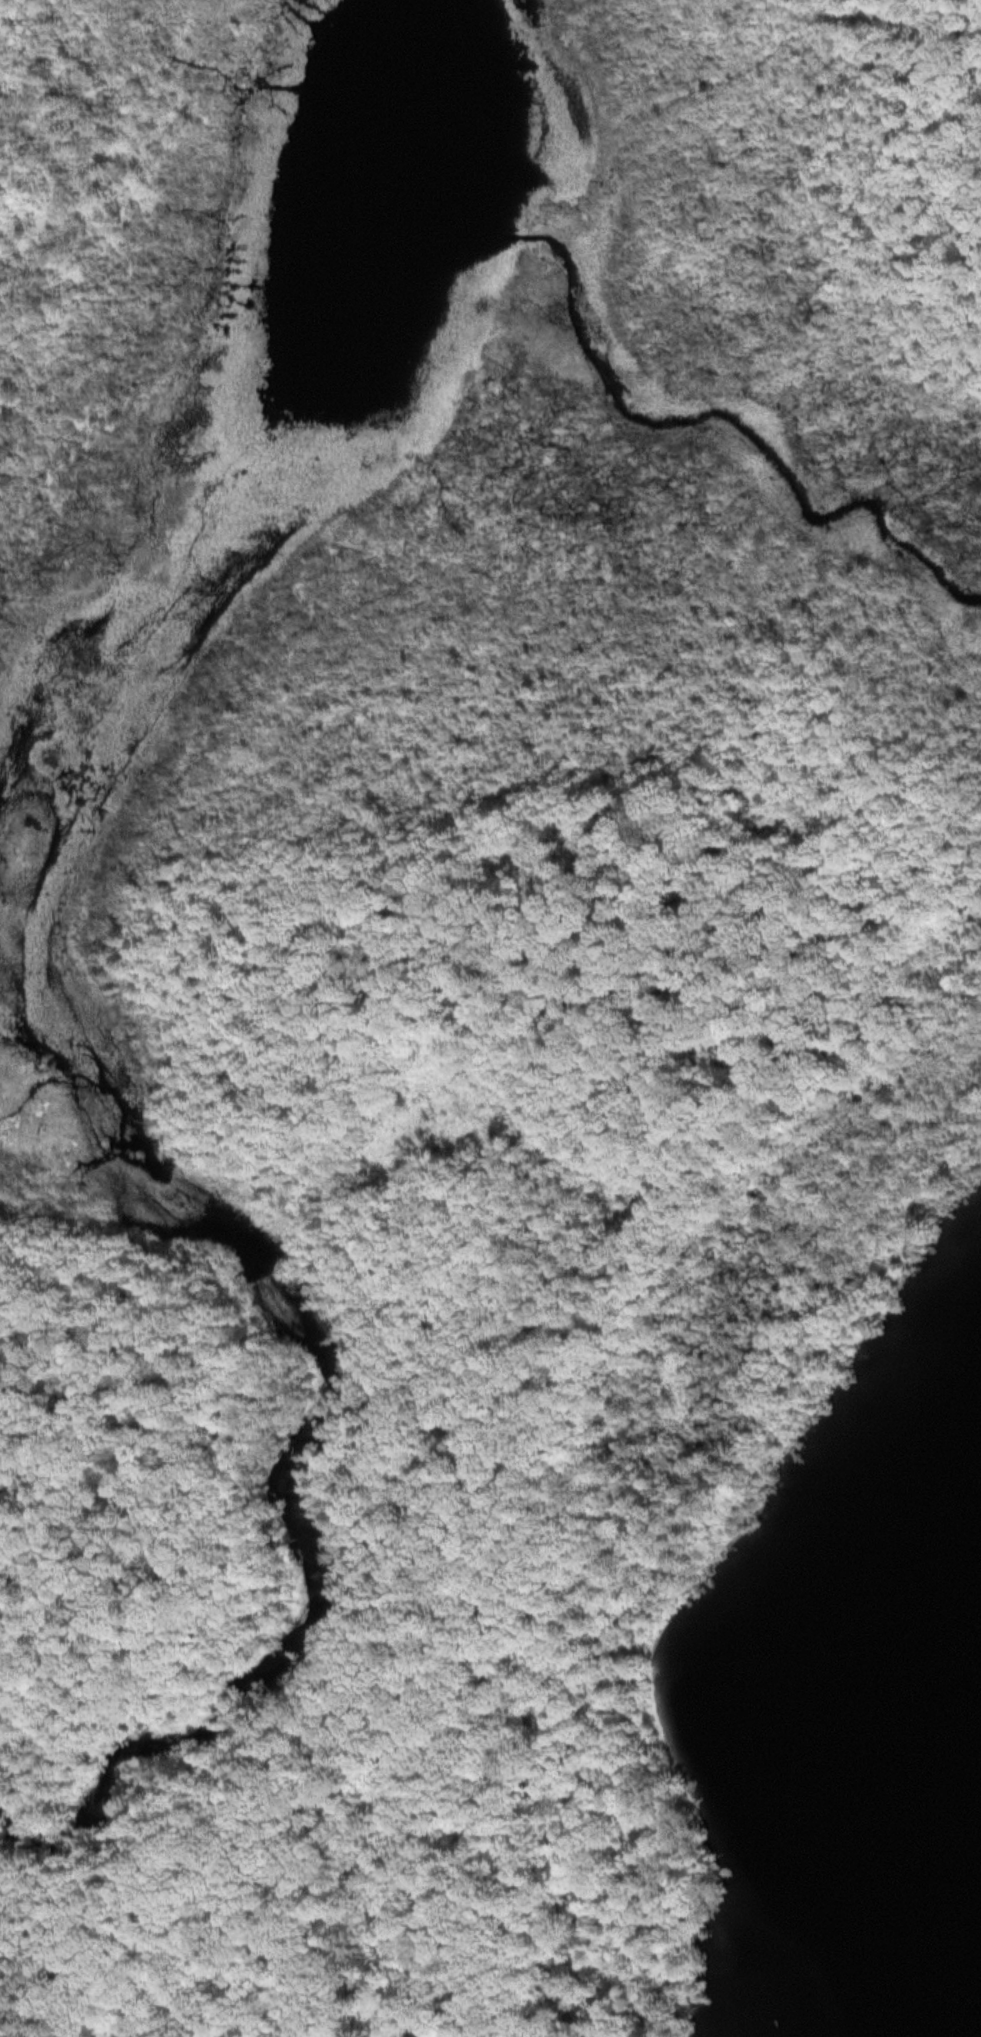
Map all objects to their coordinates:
road: (62, 1547)

